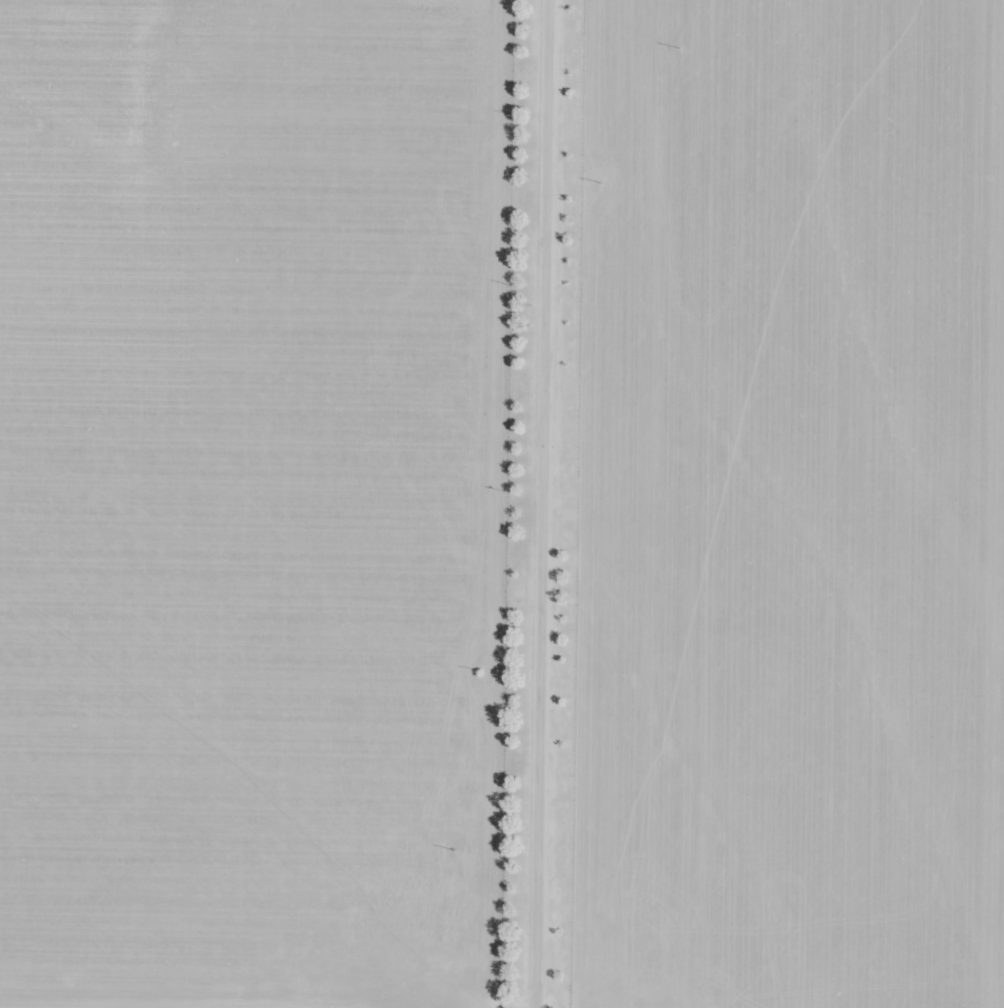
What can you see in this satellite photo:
road: (546, 504)

